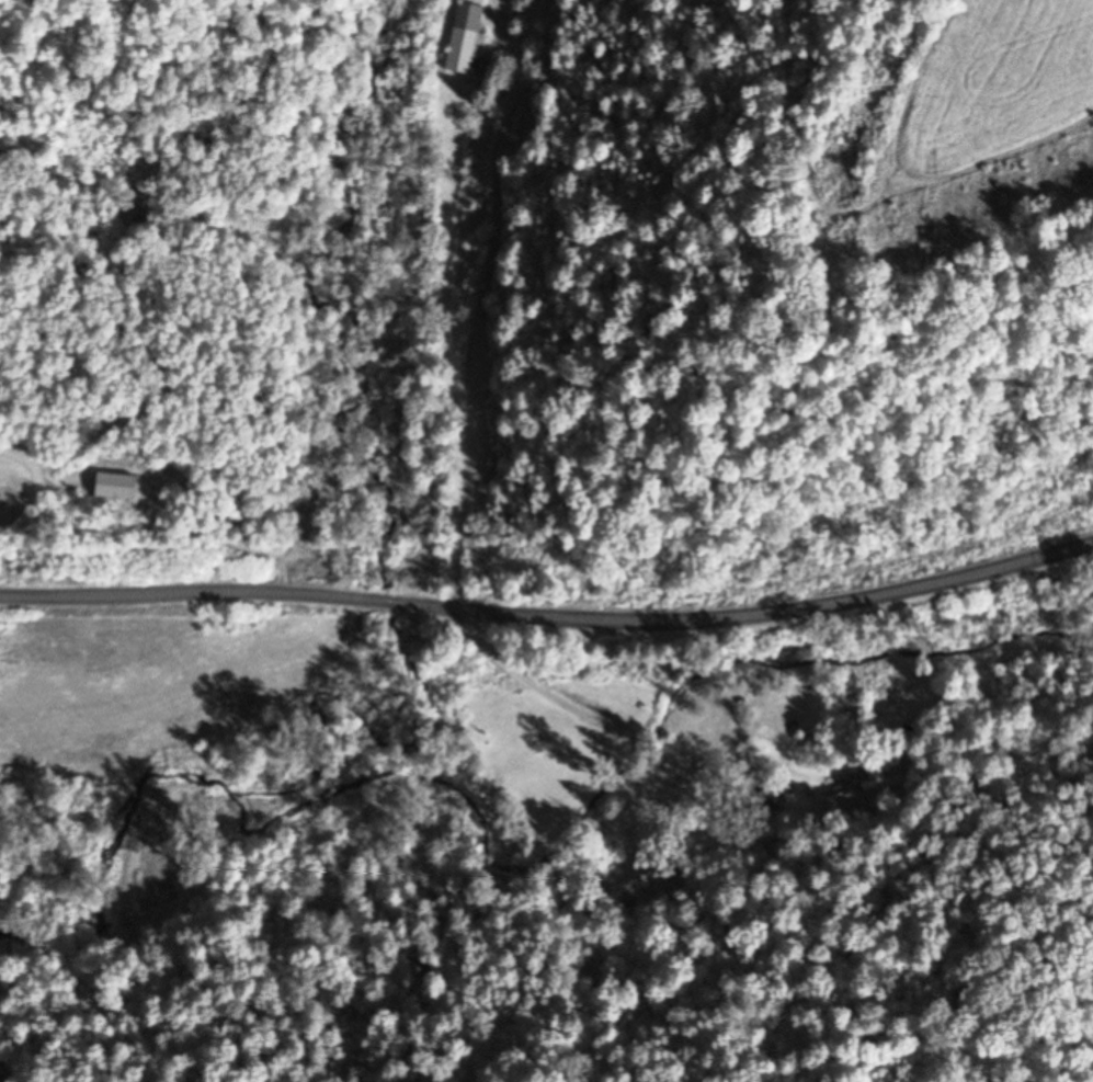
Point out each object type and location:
building: (465, 42)
road: (35, 477)
road: (549, 624)
building: (883, 770)
building: (765, 797)
building: (839, 800)

